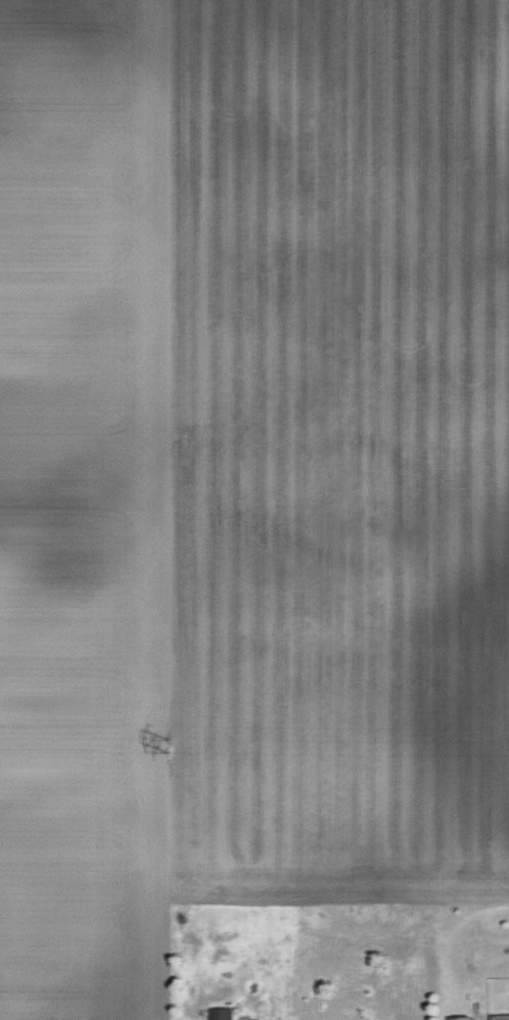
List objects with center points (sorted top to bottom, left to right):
power tower: (167, 744)
building: (221, 1013)
building: (500, 1017)

